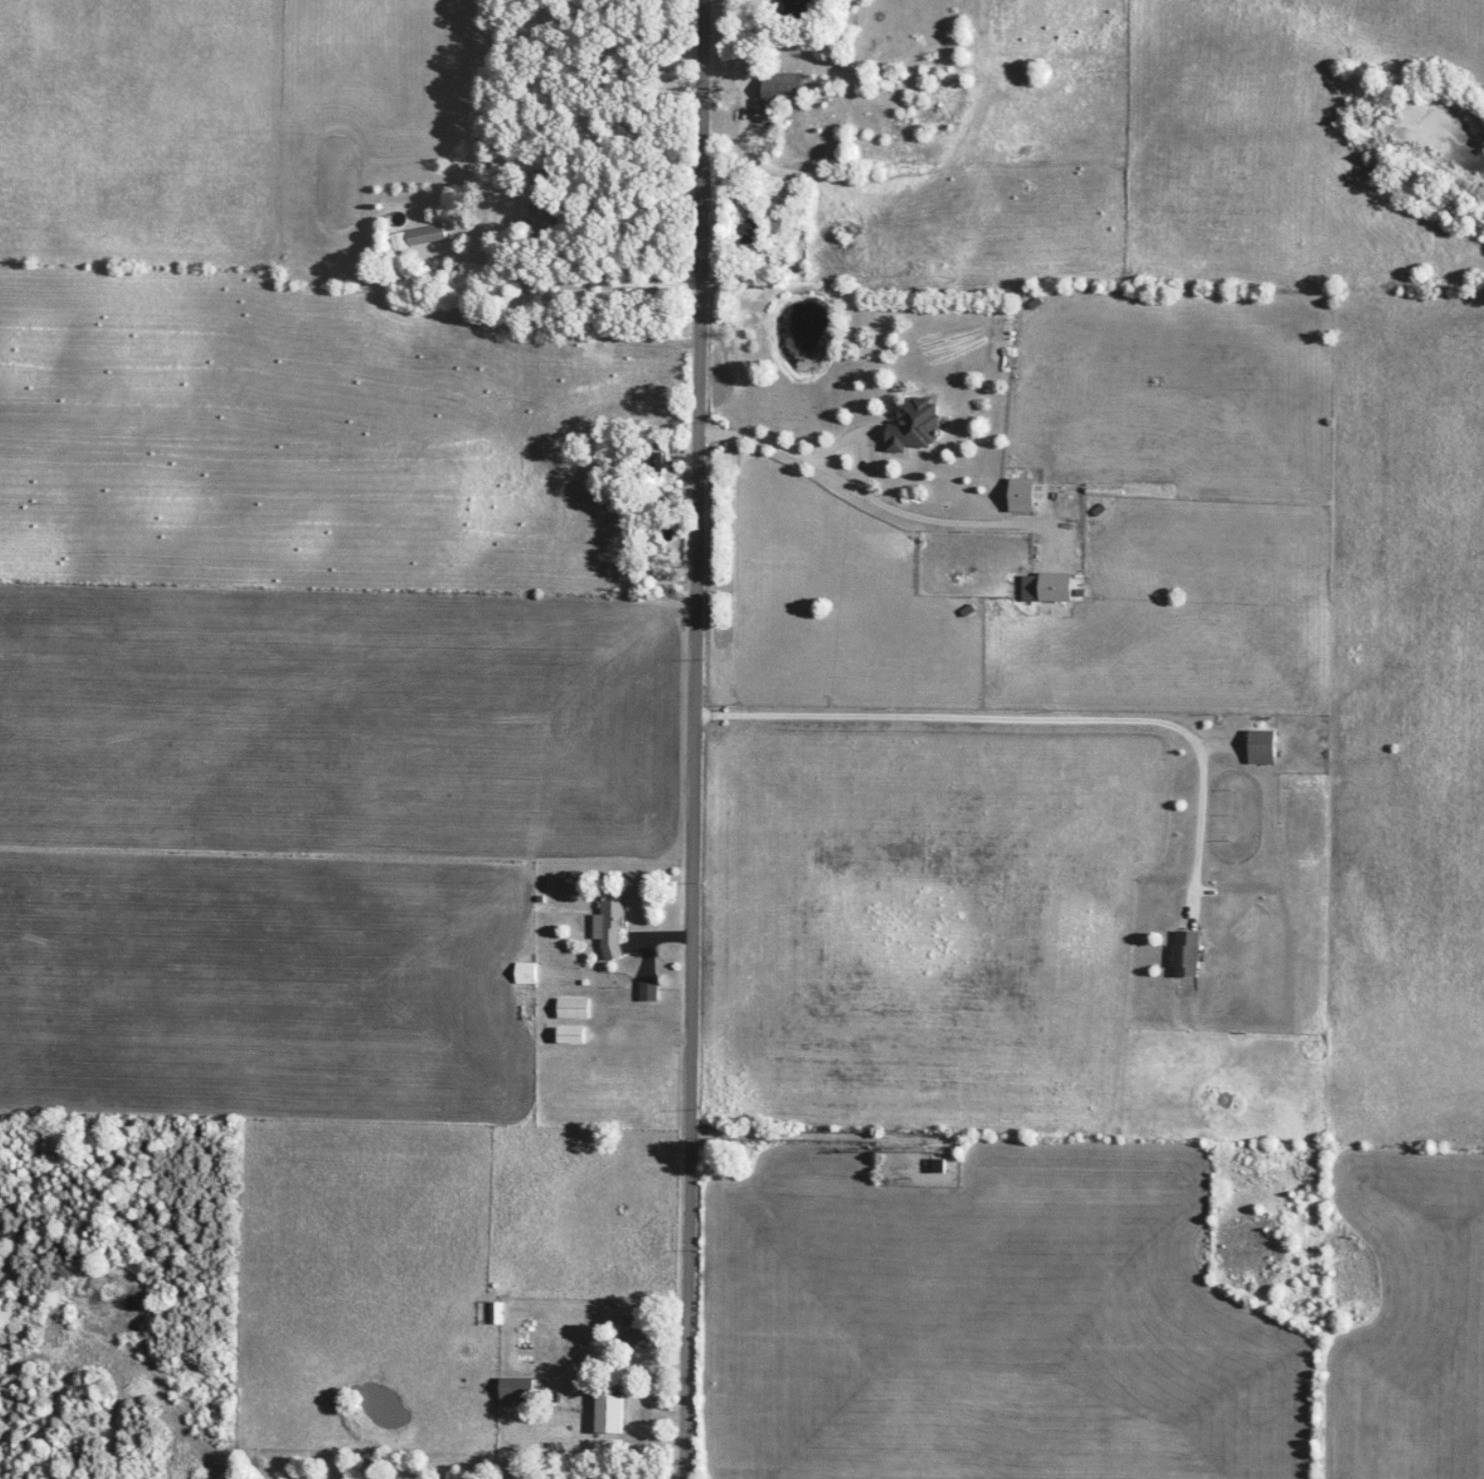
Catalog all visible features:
building: (796, 9)
road: (746, 46)
building: (629, 68)
building: (780, 90)
building: (750, 231)
building: (424, 235)
road: (574, 278)
building: (912, 426)
building: (659, 461)
building: (1020, 495)
road: (872, 498)
building: (1054, 586)
road: (1031, 717)
road: (694, 739)
building: (1261, 747)
building: (608, 929)
building: (1185, 954)
building: (524, 973)
building: (647, 992)
building: (572, 1008)
building: (569, 1035)
building: (495, 1314)
building: (634, 1334)
building: (515, 1393)
building: (608, 1414)

